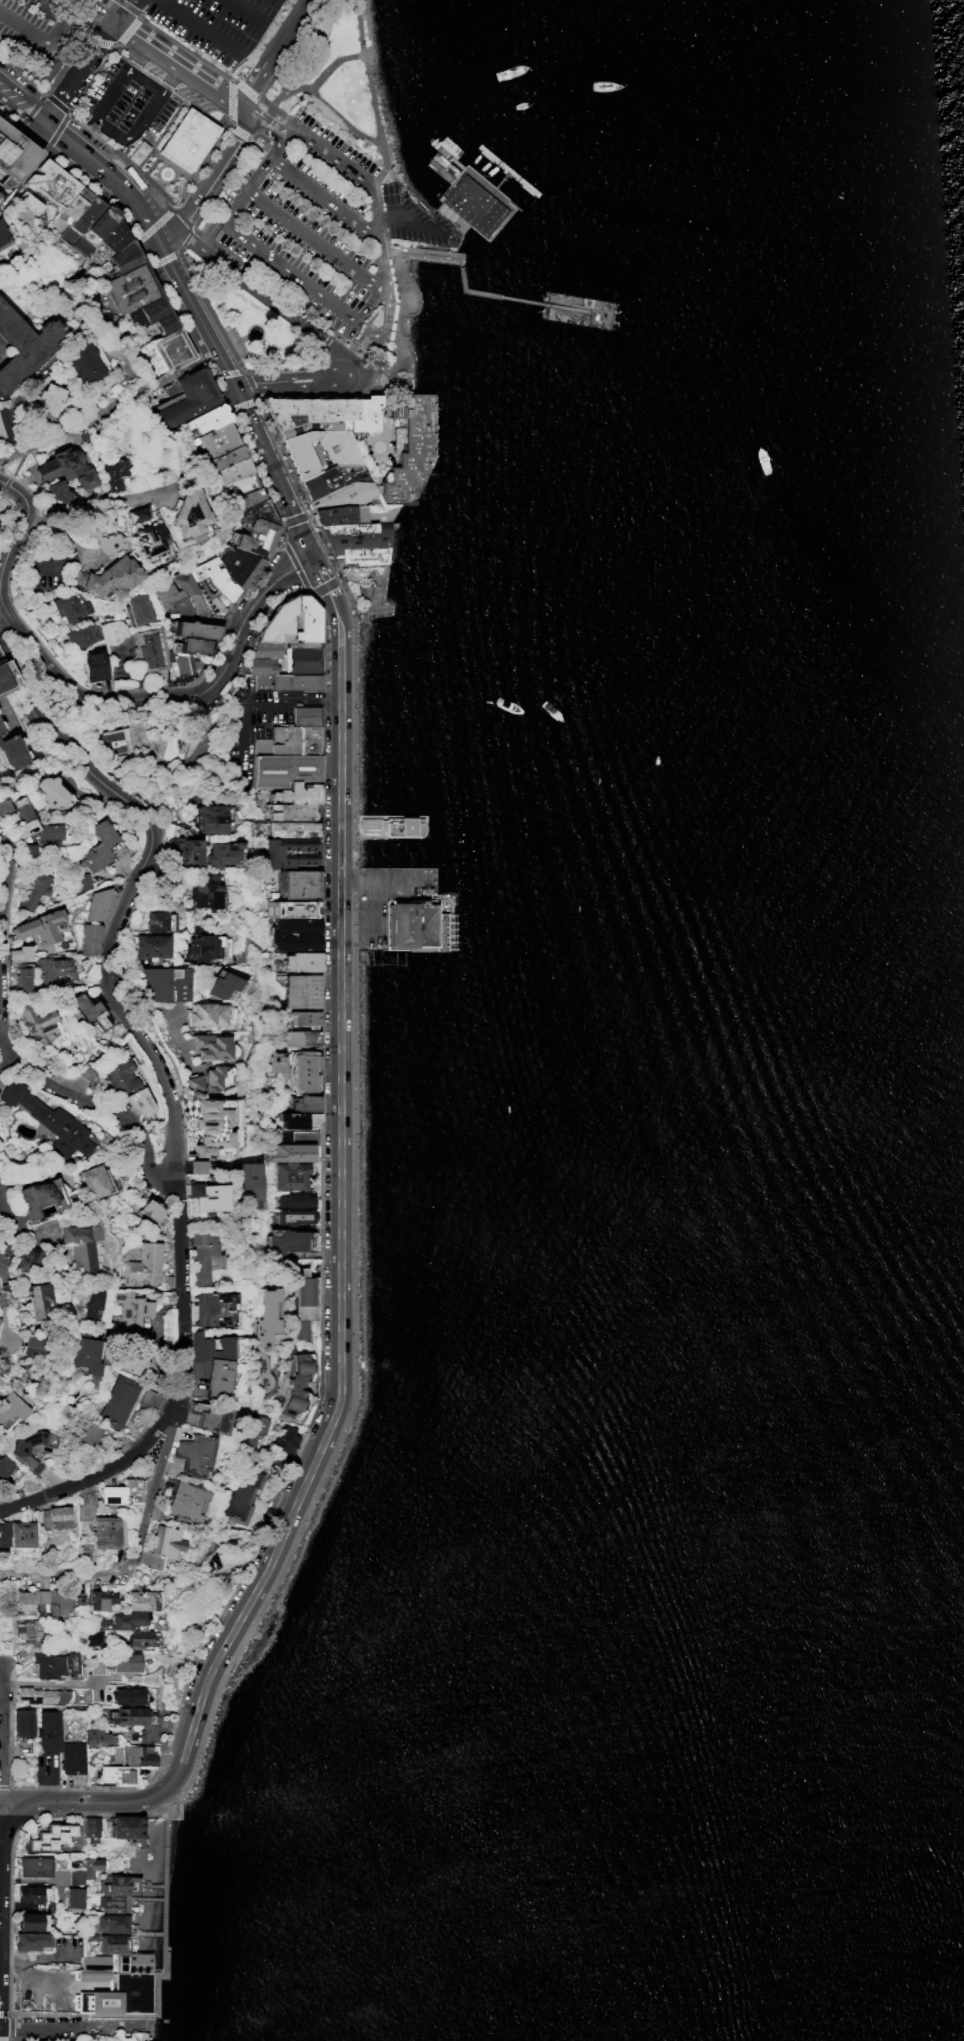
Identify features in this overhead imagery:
road: (133, 3)
road: (63, 4)
road: (243, 11)
road: (120, 14)
road: (89, 17)
parking lot: (219, 24)
parking lot: (39, 25)
road: (201, 26)
road: (361, 28)
road: (41, 41)
road: (269, 51)
road: (133, 57)
road: (86, 60)
road: (177, 64)
building: (49, 67)
road: (167, 79)
park: (341, 81)
road: (286, 92)
road: (253, 95)
railway: (143, 98)
road: (264, 100)
road: (21, 104)
parking lot: (126, 105)
road: (53, 110)
road: (258, 114)
road: (263, 121)
road: (343, 121)
road: (256, 122)
traffic signals: (44, 123)
road: (377, 129)
road: (104, 130)
road: (257, 133)
road: (245, 135)
building: (191, 139)
road: (276, 145)
building: (15, 150)
building: (137, 152)
road: (343, 163)
road: (258, 174)
road: (109, 176)
road: (208, 180)
building: (47, 185)
road: (322, 195)
pier: (472, 204)
building: (71, 207)
building: (474, 207)
road: (402, 217)
building: (82, 219)
parking lot: (308, 222)
road: (188, 223)
building: (1, 229)
building: (95, 229)
road: (192, 231)
building: (114, 235)
building: (1, 238)
road: (186, 238)
road: (311, 240)
railway: (375, 247)
building: (125, 256)
road: (435, 256)
road: (165, 258)
road: (237, 262)
road: (379, 262)
road: (287, 271)
pier: (462, 276)
building: (132, 288)
road: (470, 290)
road: (260, 294)
road: (521, 300)
road: (570, 308)
pier: (577, 309)
road: (597, 312)
road: (177, 314)
road: (194, 314)
building: (153, 315)
park: (249, 320)
fountain: (253, 331)
road: (331, 333)
road: (399, 335)
road: (324, 341)
road: (228, 343)
building: (26, 346)
building: (164, 353)
building: (84, 361)
road: (200, 363)
road: (226, 373)
road: (291, 379)
road: (251, 382)
building: (48, 398)
building: (189, 398)
road: (242, 405)
building: (308, 410)
road: (203, 411)
road: (384, 413)
building: (366, 414)
building: (209, 418)
road: (78, 423)
building: (313, 427)
building: (1, 431)
building: (219, 439)
building: (409, 448)
building: (319, 450)
building: (227, 457)
road: (17, 464)
building: (67, 467)
road: (177, 468)
road: (272, 469)
building: (233, 470)
building: (115, 474)
building: (320, 482)
building: (242, 484)
road: (5, 485)
building: (57, 491)
building: (346, 494)
building: (251, 496)
road: (103, 507)
building: (256, 511)
building: (189, 513)
building: (341, 514)
road: (295, 519)
building: (147, 532)
building: (257, 537)
building: (357, 541)
traffic signals: (313, 556)
building: (239, 565)
building: (107, 577)
road: (303, 579)
building: (214, 584)
building: (187, 589)
park: (370, 591)
building: (69, 605)
building: (138, 609)
road: (207, 618)
building: (307, 619)
building: (277, 621)
building: (195, 629)
building: (82, 634)
building: (302, 645)
building: (265, 649)
building: (149, 650)
building: (187, 652)
building: (303, 661)
building: (94, 665)
building: (261, 665)
building: (4, 678)
road: (185, 682)
building: (287, 682)
road: (209, 685)
road: (245, 696)
road: (328, 696)
building: (306, 715)
parking lot: (256, 722)
building: (113, 740)
building: (289, 740)
building: (12, 750)
building: (284, 769)
building: (52, 792)
building: (294, 801)
building: (291, 805)
road: (134, 806)
building: (16, 808)
building: (214, 818)
building: (392, 825)
pier: (391, 826)
building: (295, 829)
building: (44, 837)
building: (99, 846)
building: (290, 852)
building: (185, 853)
building: (222, 854)
building: (299, 884)
building: (35, 888)
building: (205, 893)
building: (97, 904)
road: (3, 906)
building: (290, 909)
pier: (402, 910)
building: (158, 921)
building: (409, 924)
building: (41, 926)
building: (295, 934)
building: (90, 939)
building: (150, 946)
building: (203, 947)
building: (20, 952)
building: (303, 961)
building: (52, 968)
building: (22, 977)
building: (164, 983)
building: (223, 985)
building: (301, 990)
building: (90, 1009)
building: (206, 1013)
building: (305, 1017)
building: (37, 1022)
building: (302, 1037)
building: (211, 1046)
building: (272, 1062)
building: (305, 1071)
building: (119, 1076)
building: (215, 1077)
building: (194, 1083)
road: (102, 1094)
building: (140, 1101)
building: (306, 1103)
building: (208, 1115)
building: (298, 1119)
building: (49, 1120)
building: (209, 1145)
building: (292, 1149)
building: (197, 1166)
building: (292, 1176)
building: (94, 1181)
building: (251, 1183)
building: (208, 1196)
building: (35, 1197)
road: (339, 1197)
building: (297, 1200)
building: (150, 1209)
building: (296, 1216)
road: (9, 1239)
building: (286, 1241)
road: (321, 1242)
building: (81, 1245)
road: (354, 1251)
building: (202, 1256)
building: (27, 1257)
building: (143, 1263)
building: (304, 1300)
building: (38, 1301)
building: (93, 1305)
building: (225, 1312)
building: (133, 1314)
building: (0, 1315)
building: (264, 1315)
building: (34, 1341)
building: (86, 1354)
building: (135, 1359)
building: (213, 1363)
building: (297, 1384)
road: (174, 1396)
building: (129, 1405)
building: (12, 1406)
building: (213, 1418)
building: (254, 1427)
building: (88, 1432)
building: (287, 1439)
building: (19, 1452)
building: (194, 1454)
building: (4, 1465)
road: (153, 1486)
building: (121, 1491)
building: (239, 1493)
building: (184, 1500)
building: (52, 1516)
building: (105, 1531)
building: (16, 1533)
building: (165, 1541)
road: (251, 1553)
road: (131, 1564)
road: (59, 1574)
road: (203, 1576)
road: (158, 1580)
road: (175, 1596)
building: (101, 1598)
building: (52, 1600)
building: (140, 1600)
building: (26, 1602)
building: (123, 1620)
road: (3, 1624)
park: (192, 1626)
building: (27, 1630)
building: (93, 1637)
building: (138, 1639)
building: (123, 1662)
building: (54, 1664)
road: (51, 1683)
building: (40, 1695)
building: (128, 1695)
building: (137, 1720)
building: (23, 1721)
road: (2, 1730)
building: (47, 1731)
building: (98, 1736)
building: (133, 1755)
building: (71, 1757)
building: (118, 1774)
road: (6, 1786)
road: (0, 1798)
road: (76, 1800)
building: (91, 1826)
building: (125, 1826)
building: (49, 1836)
building: (33, 1865)
building: (91, 1866)
road: (0, 1868)
building: (76, 1876)
building: (118, 1884)
building: (27, 1893)
building: (74, 1897)
building: (113, 1903)
building: (31, 1921)
building: (112, 1923)
building: (31, 1940)
building: (112, 1943)
road: (164, 1955)
building: (132, 1963)
road: (65, 1989)
building: (118, 1995)
road: (71, 2027)

